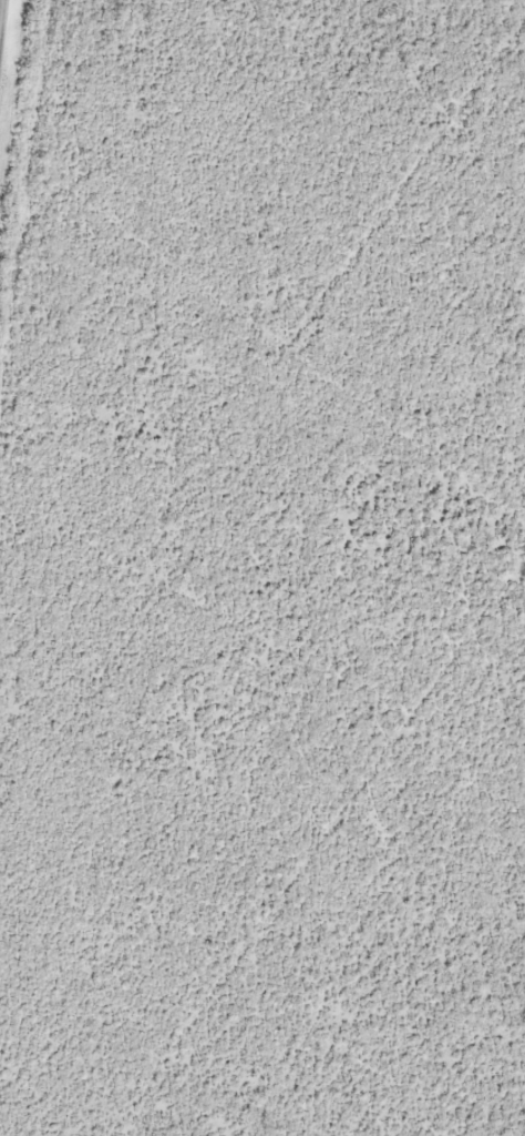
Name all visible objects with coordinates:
road: (3, 34)

